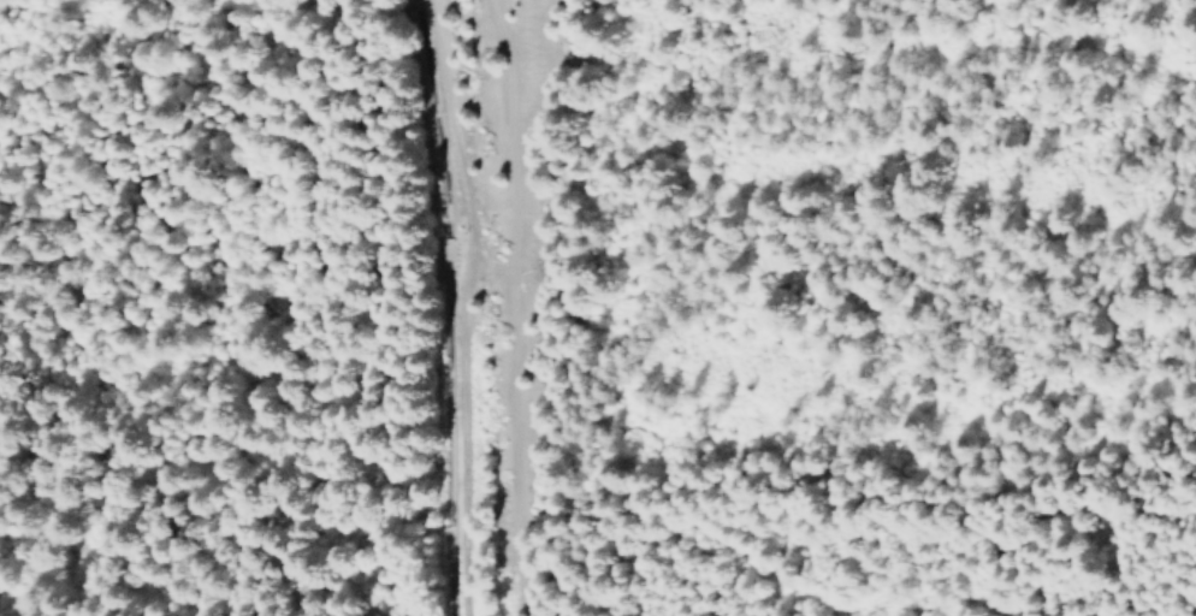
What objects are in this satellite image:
road: (460, 306)

